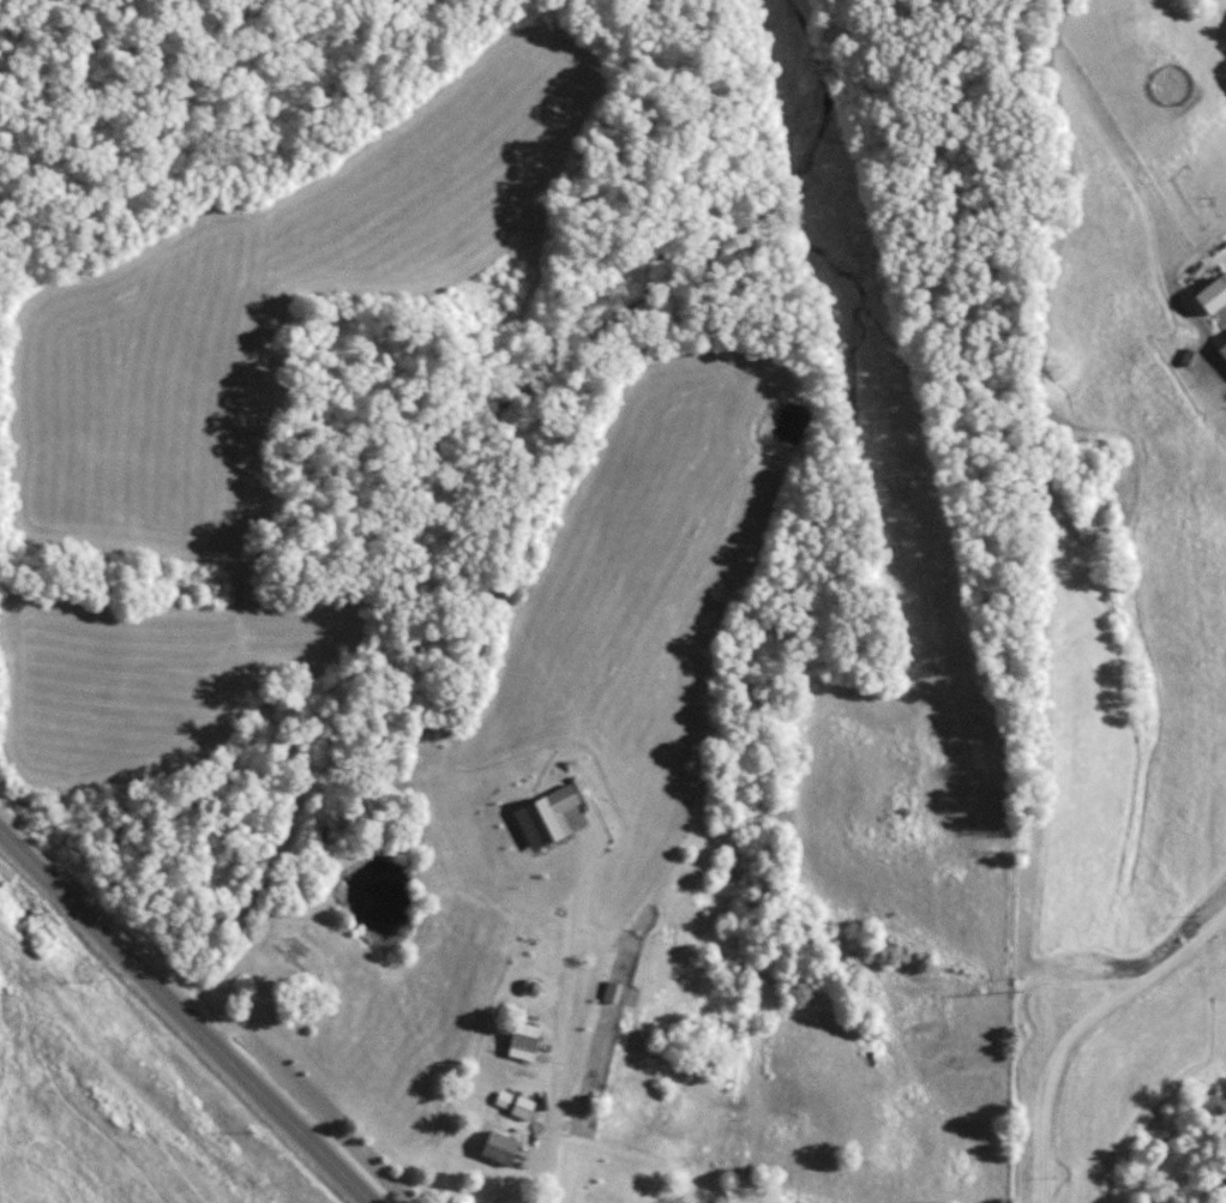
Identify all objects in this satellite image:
building: (1225, 342)
building: (295, 954)
building: (564, 985)
road: (188, 1013)
building: (523, 1041)
building: (522, 1107)
building: (499, 1148)

